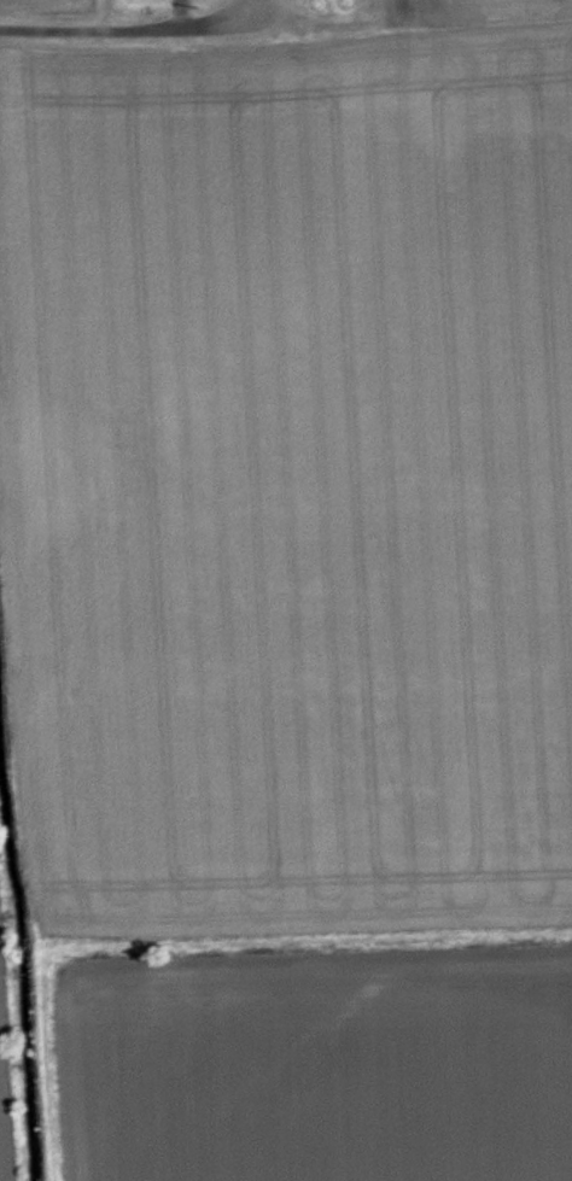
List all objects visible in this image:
road: (115, 21)

